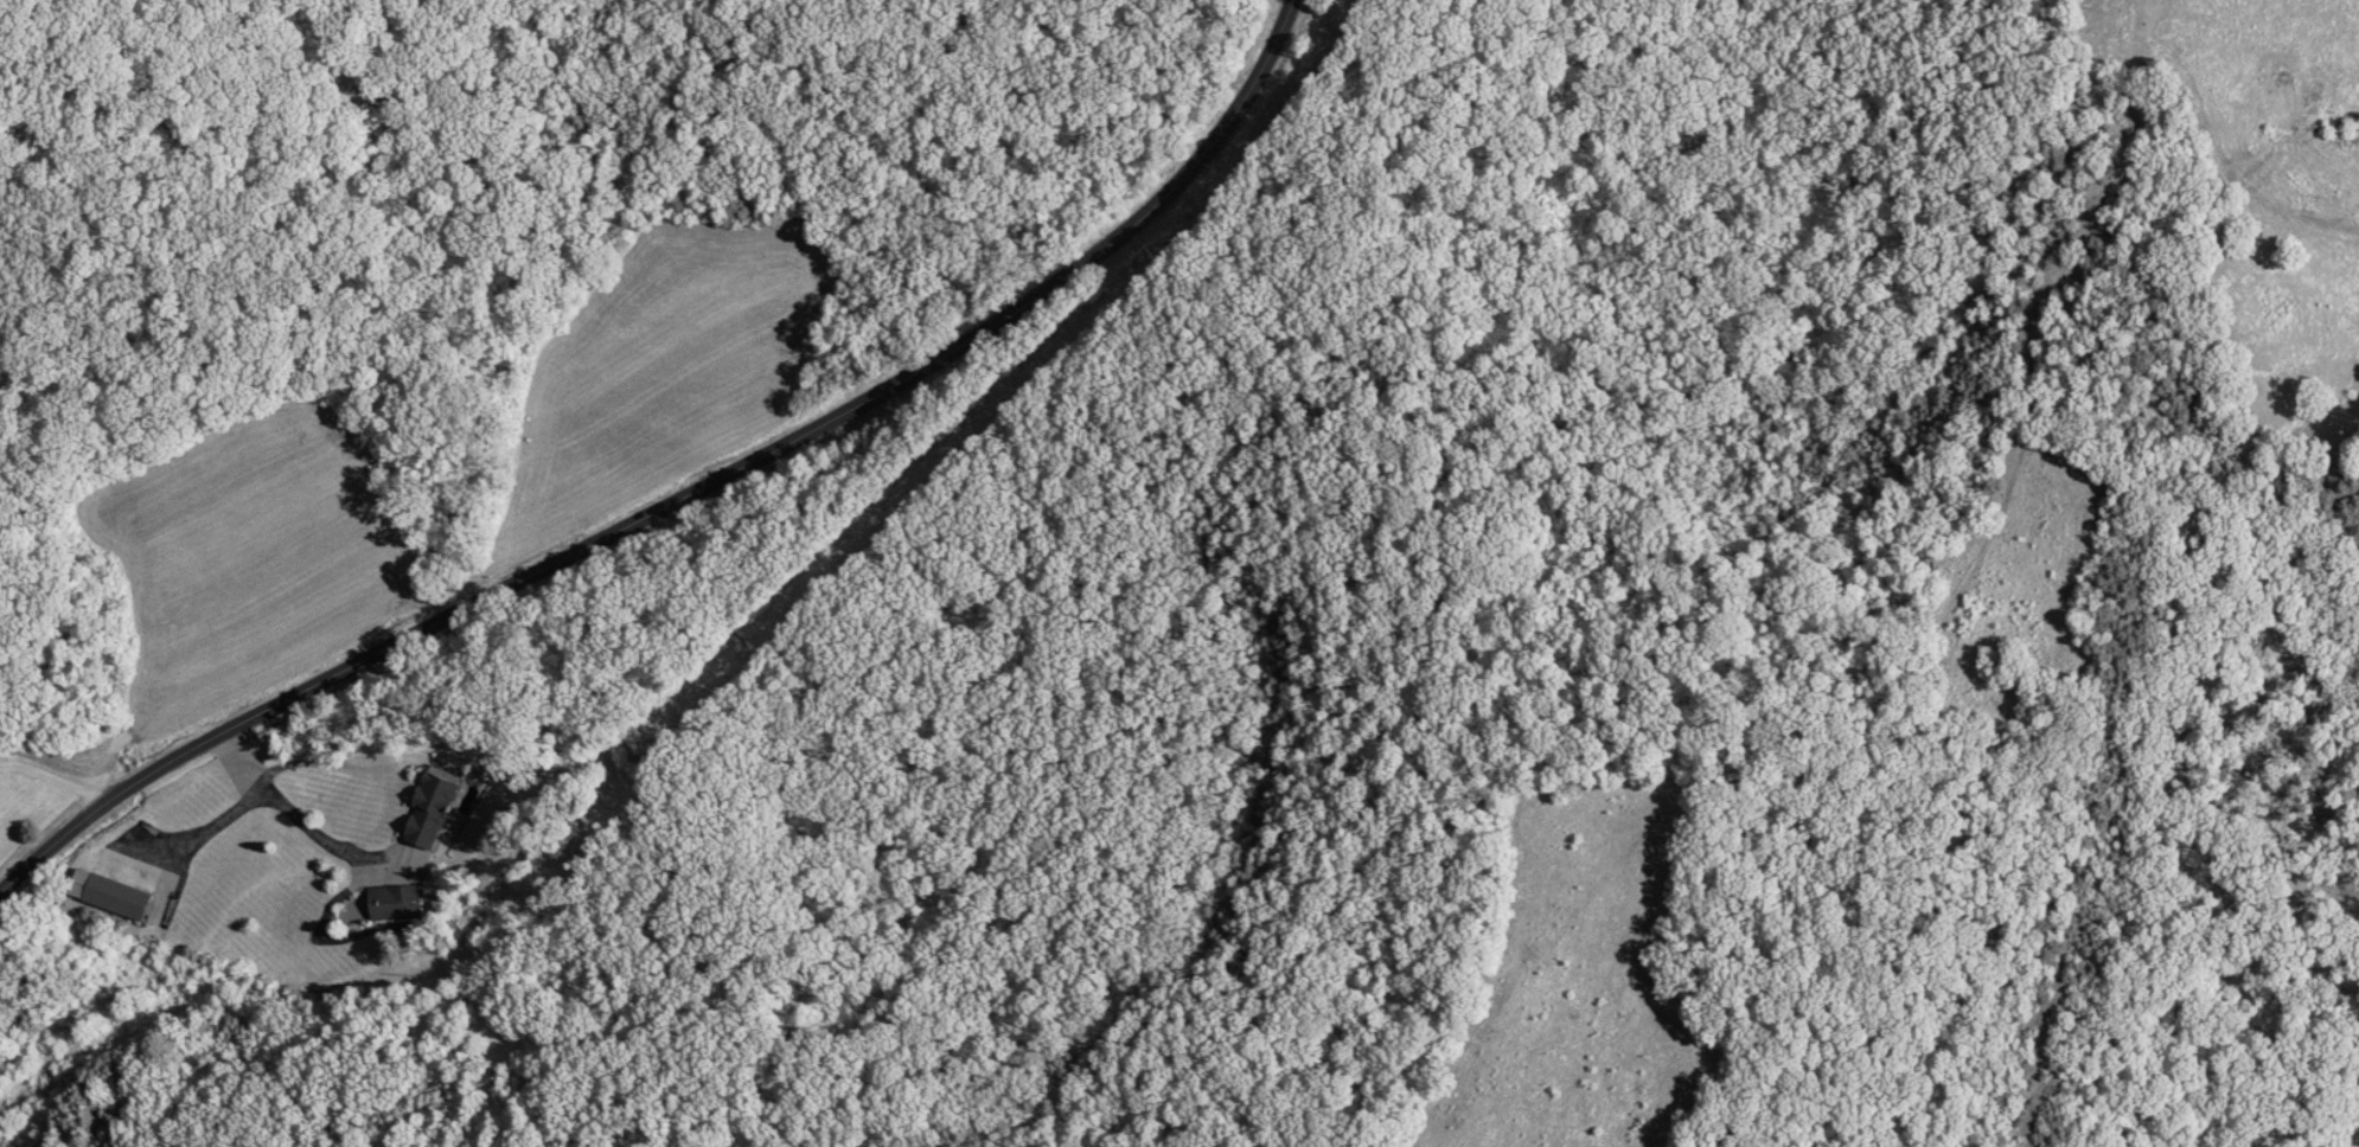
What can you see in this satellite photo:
road: (693, 499)
road: (331, 763)
road: (55, 778)
building: (433, 806)
road: (287, 810)
road: (206, 828)
building: (103, 896)
building: (396, 905)

